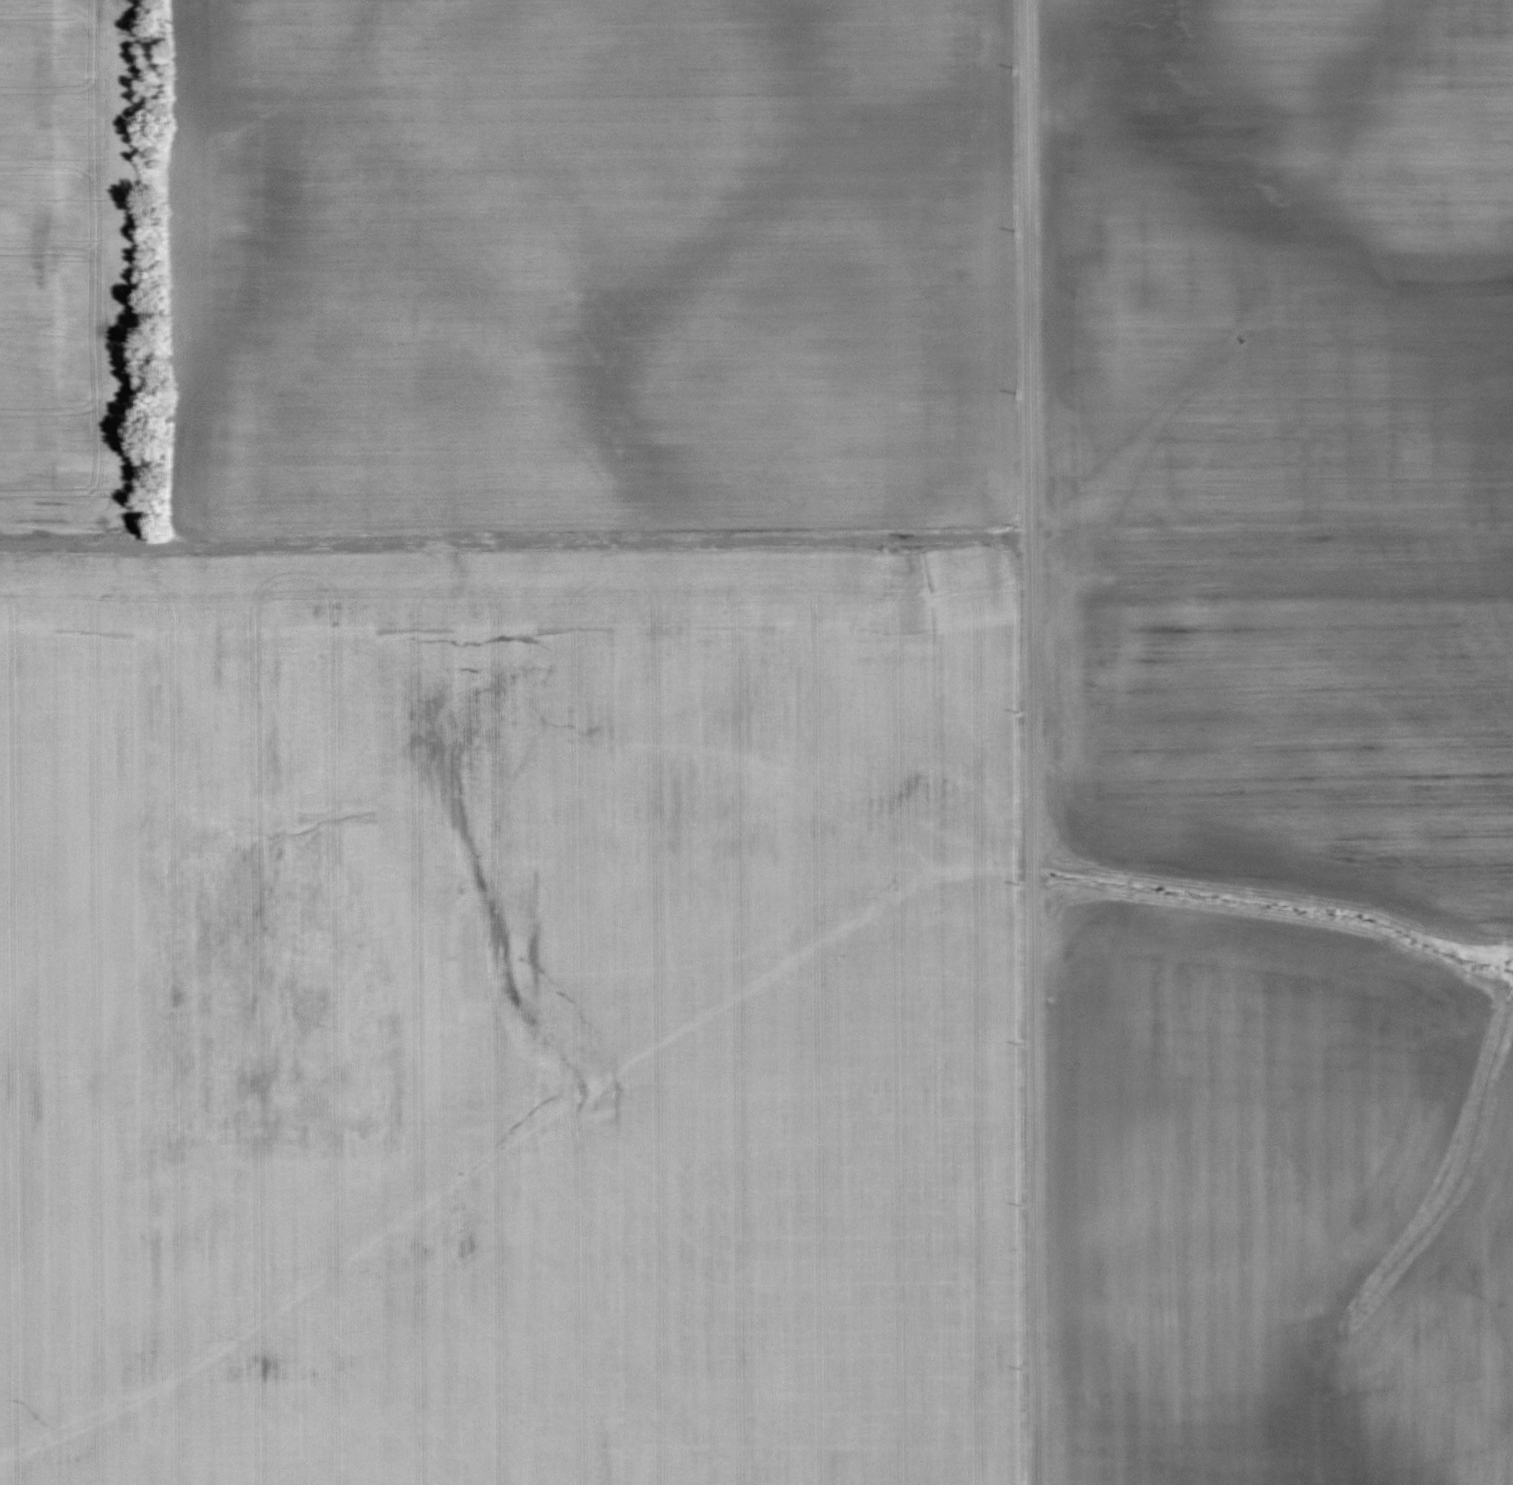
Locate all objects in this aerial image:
road: (1027, 742)

